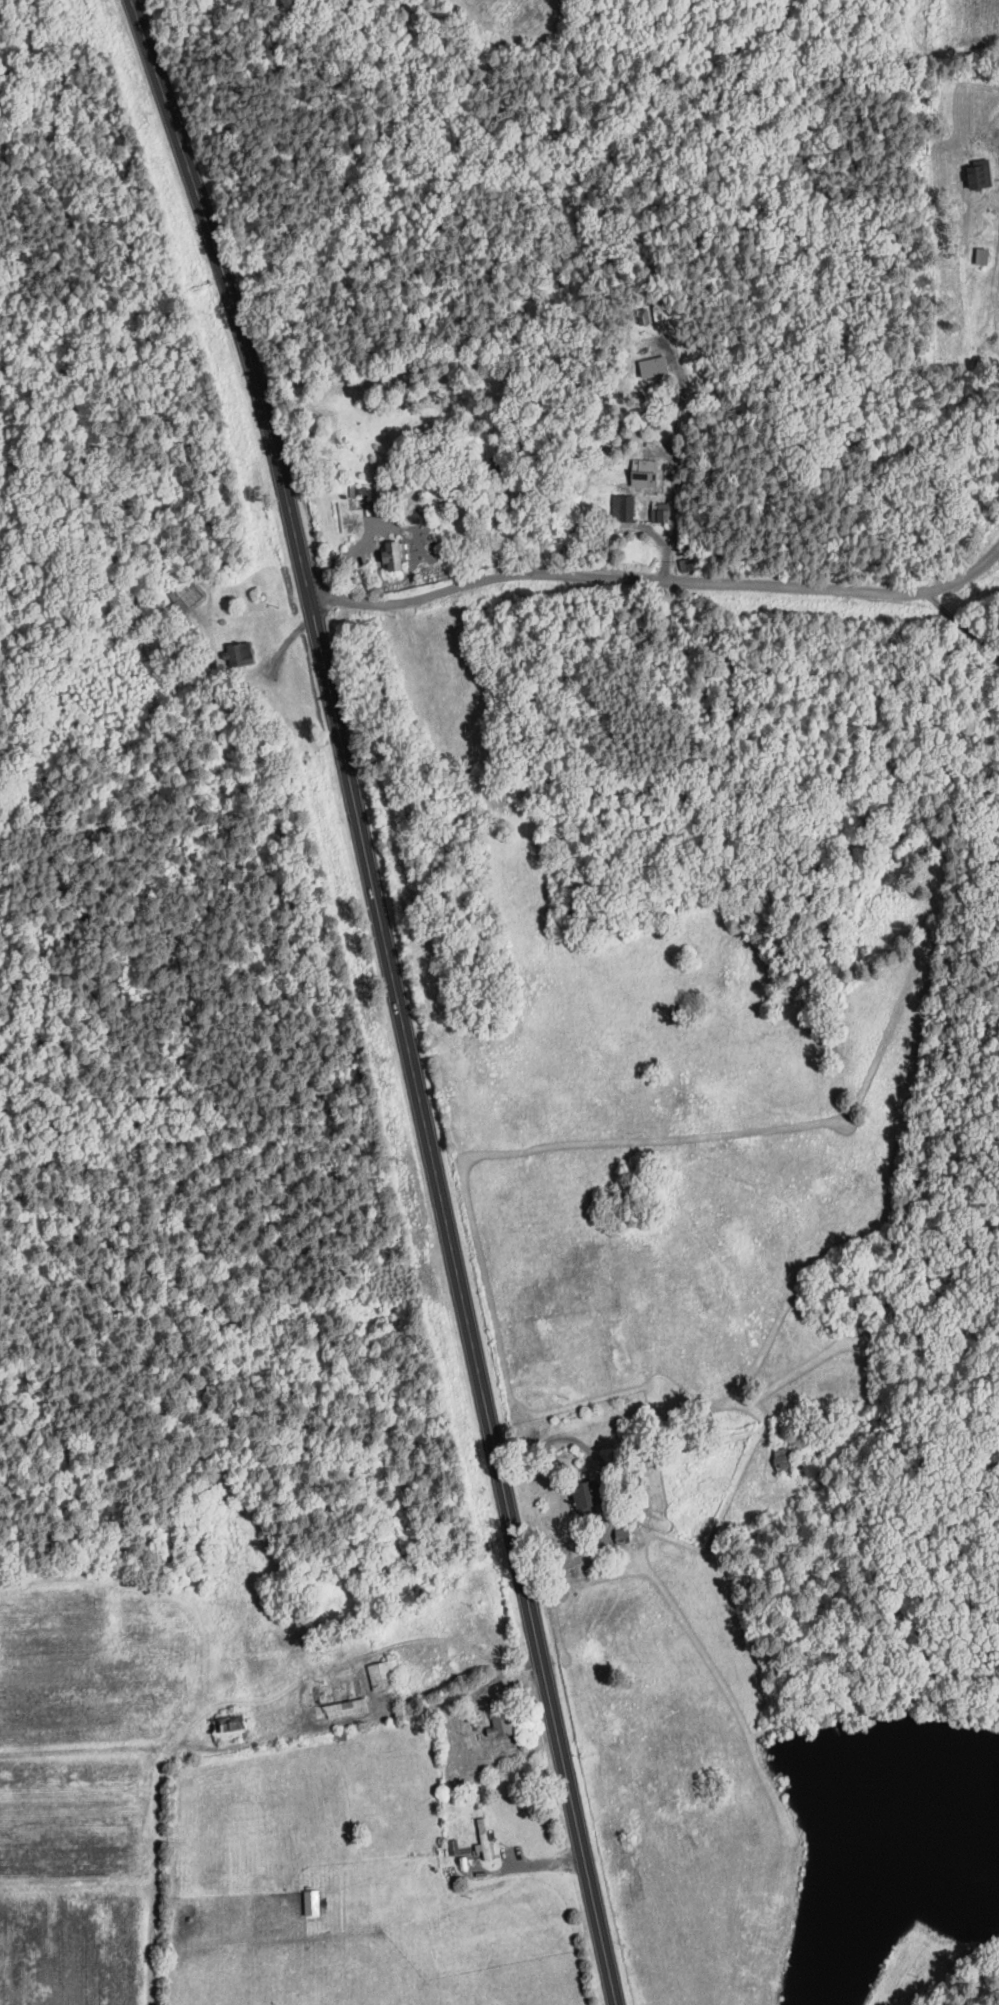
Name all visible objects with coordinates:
building: (975, 170)
road: (997, 242)
building: (982, 251)
building: (656, 365)
road: (672, 457)
building: (359, 489)
building: (625, 506)
building: (663, 511)
building: (395, 555)
building: (691, 563)
road: (660, 579)
road: (960, 623)
road: (393, 997)
building: (784, 1458)
road: (615, 1483)
building: (592, 1492)
building: (624, 1534)
building: (386, 1672)
road: (267, 1696)
road: (452, 1699)
building: (342, 1707)
building: (503, 1723)
building: (231, 1726)
building: (484, 1837)
building: (454, 1845)
building: (313, 1901)

